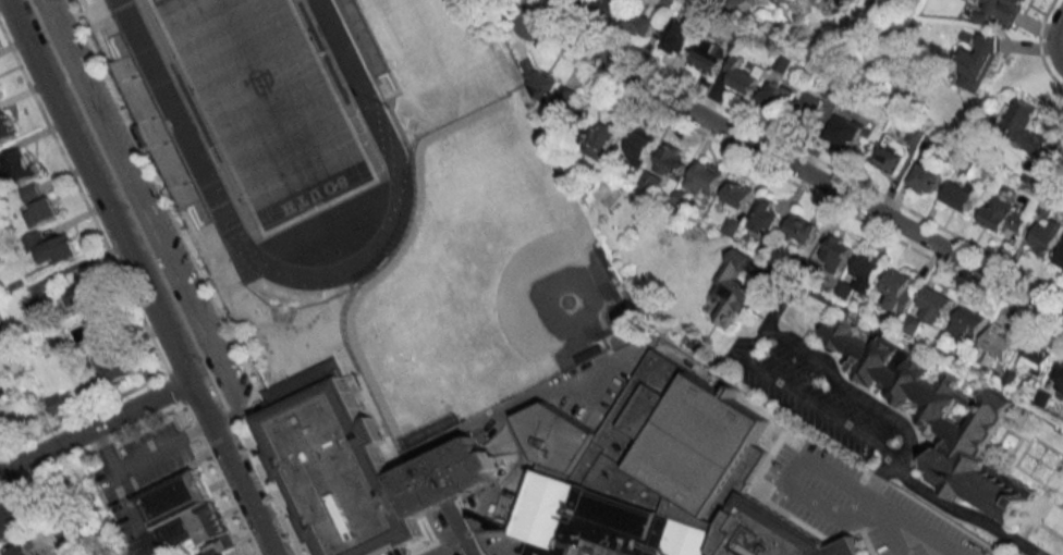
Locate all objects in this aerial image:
building: (818, 0)
building: (585, 1)
building: (790, 1)
building: (752, 3)
road: (489, 5)
building: (610, 7)
building: (1002, 8)
building: (642, 23)
building: (679, 36)
road: (1052, 41)
building: (709, 55)
building: (978, 63)
building: (743, 75)
building: (779, 97)
park: (264, 103)
building: (566, 108)
building: (809, 109)
building: (5, 126)
building: (1023, 127)
building: (845, 131)
building: (603, 136)
building: (639, 146)
track: (188, 147)
building: (1060, 147)
road: (798, 153)
building: (891, 155)
building: (669, 160)
building: (17, 164)
road: (793, 164)
road: (768, 169)
building: (1046, 176)
building: (705, 177)
building: (926, 177)
building: (29, 194)
building: (737, 194)
building: (960, 194)
building: (40, 211)
building: (763, 215)
building: (1004, 215)
building: (801, 227)
building: (1046, 237)
building: (57, 250)
building: (838, 252)
building: (1060, 257)
road: (139, 277)
road: (160, 277)
building: (731, 286)
building: (900, 289)
building: (80, 294)
building: (934, 305)
building: (967, 323)
building: (1, 329)
road: (758, 332)
building: (998, 345)
building: (1036, 358)
building: (114, 366)
building: (1058, 378)
building: (1042, 398)
building: (60, 400)
building: (930, 410)
road: (94, 427)
building: (657, 440)
road: (160, 444)
road: (771, 444)
road: (798, 451)
building: (359, 466)
road: (121, 490)
road: (962, 511)
building: (186, 514)
building: (13, 520)
building: (603, 521)
road: (1050, 530)
building: (770, 533)
road: (442, 547)
road: (258, 548)
building: (24, 550)

